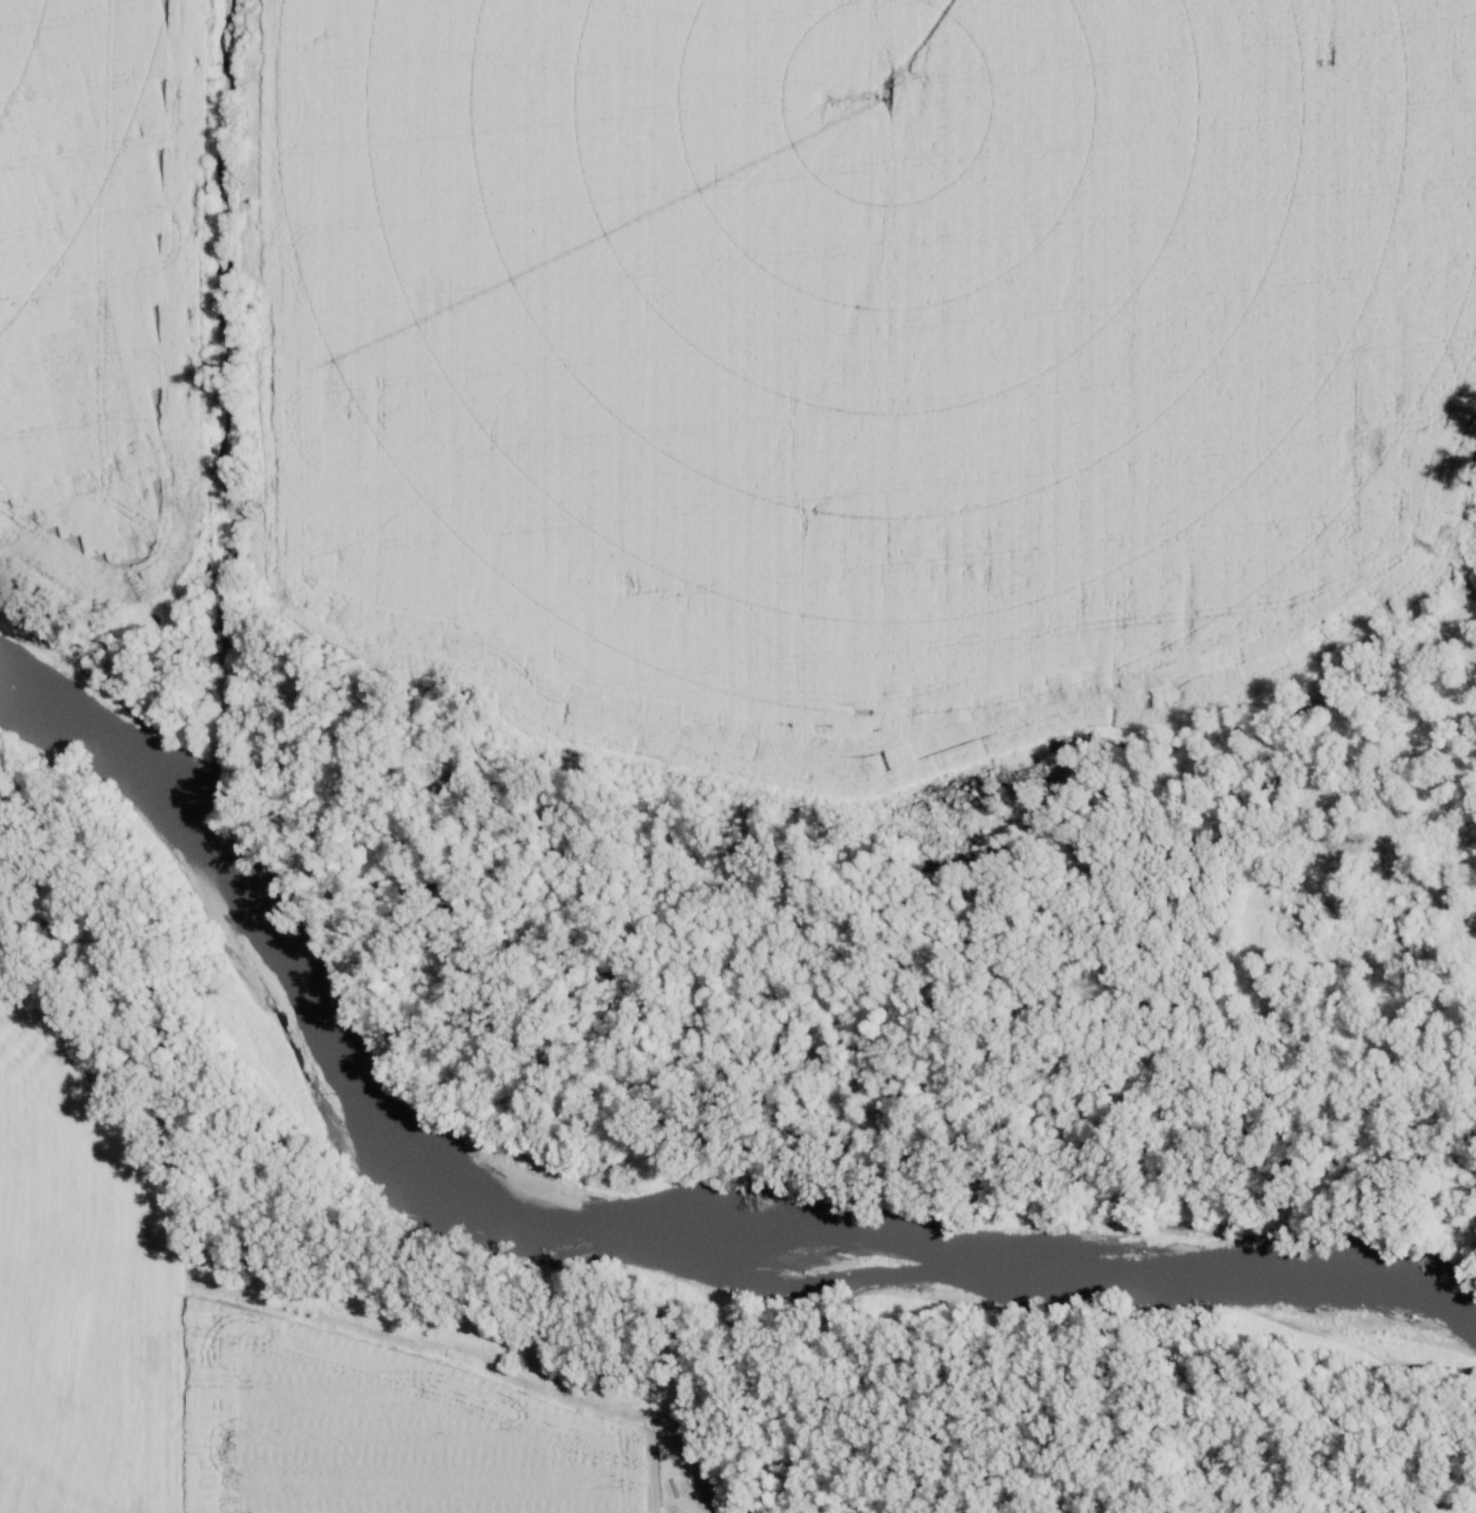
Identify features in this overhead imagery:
river: (620, 1184)

